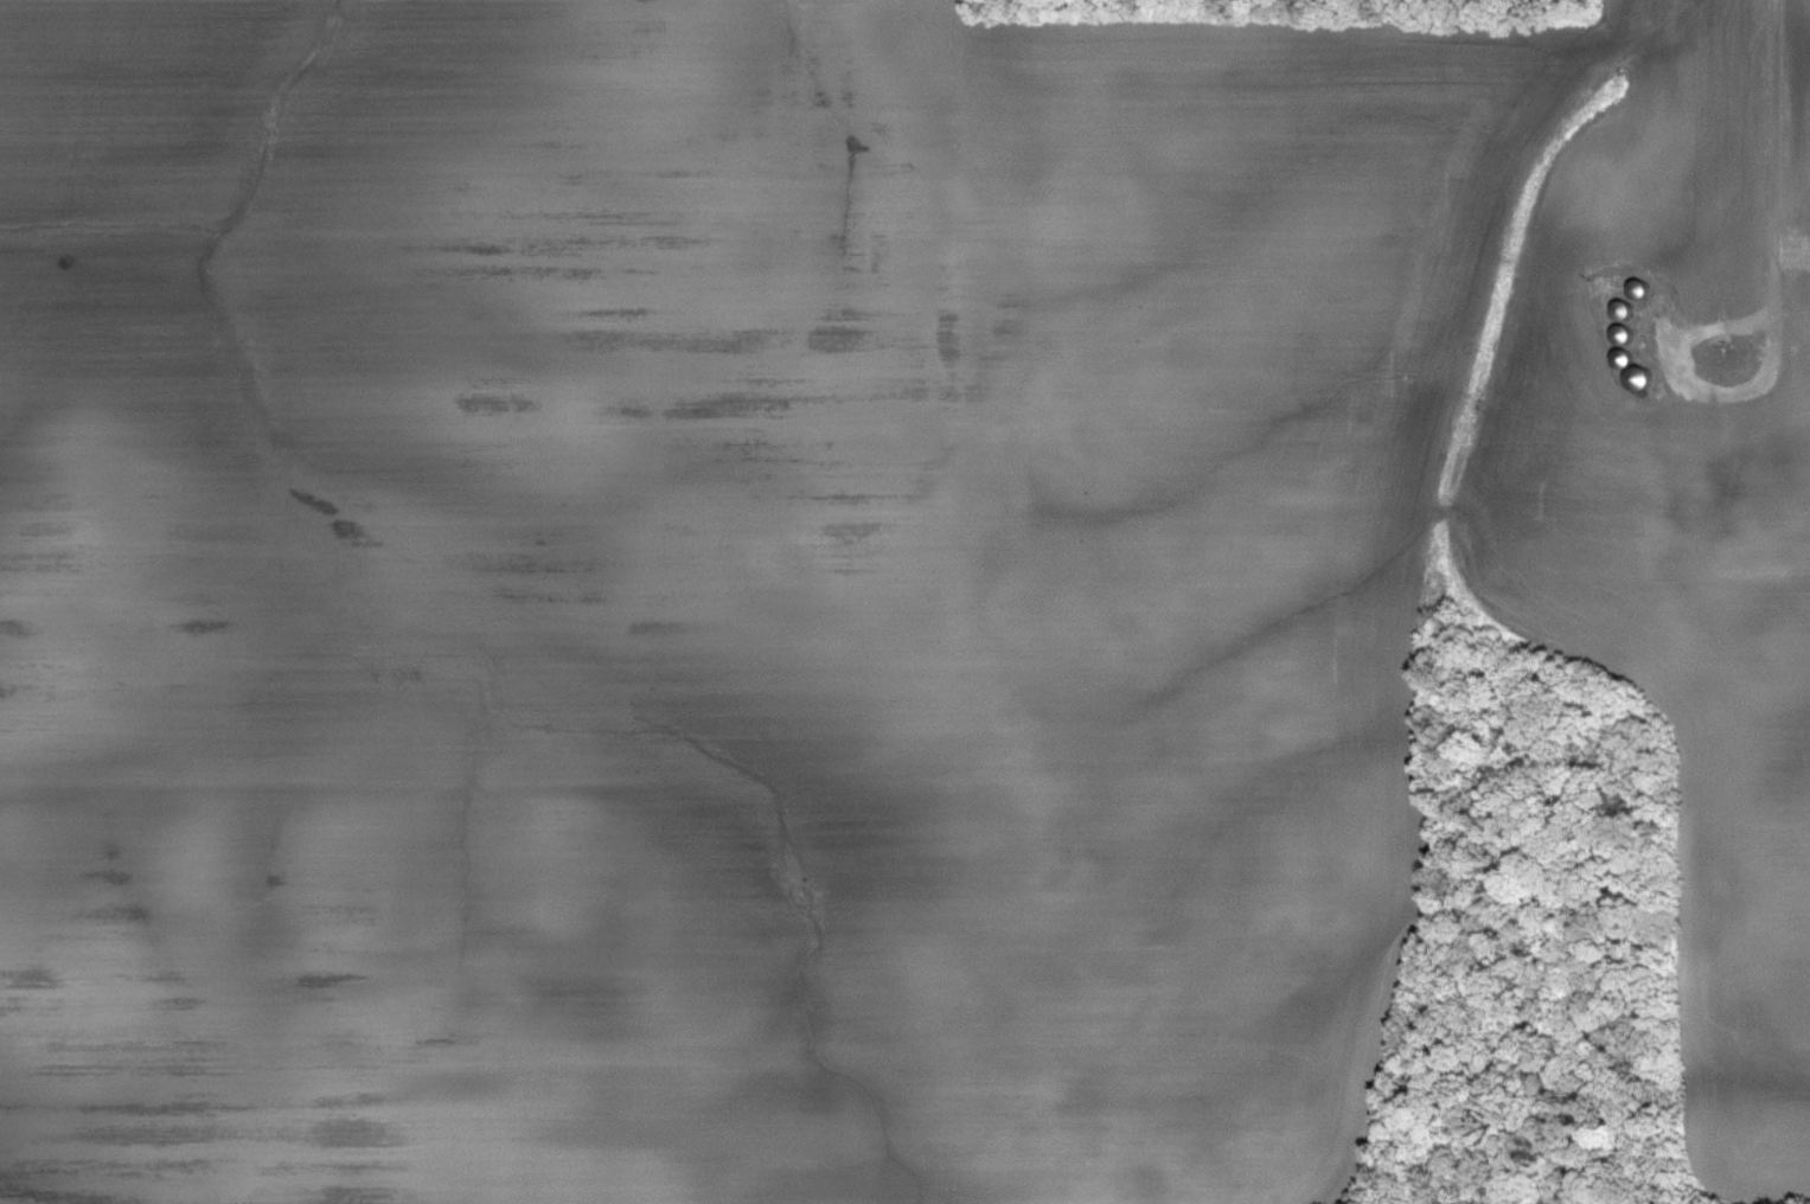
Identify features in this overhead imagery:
road: (1776, 156)
building: (1625, 313)
building: (1625, 337)
building: (1625, 360)
building: (1642, 380)
road: (1690, 390)

